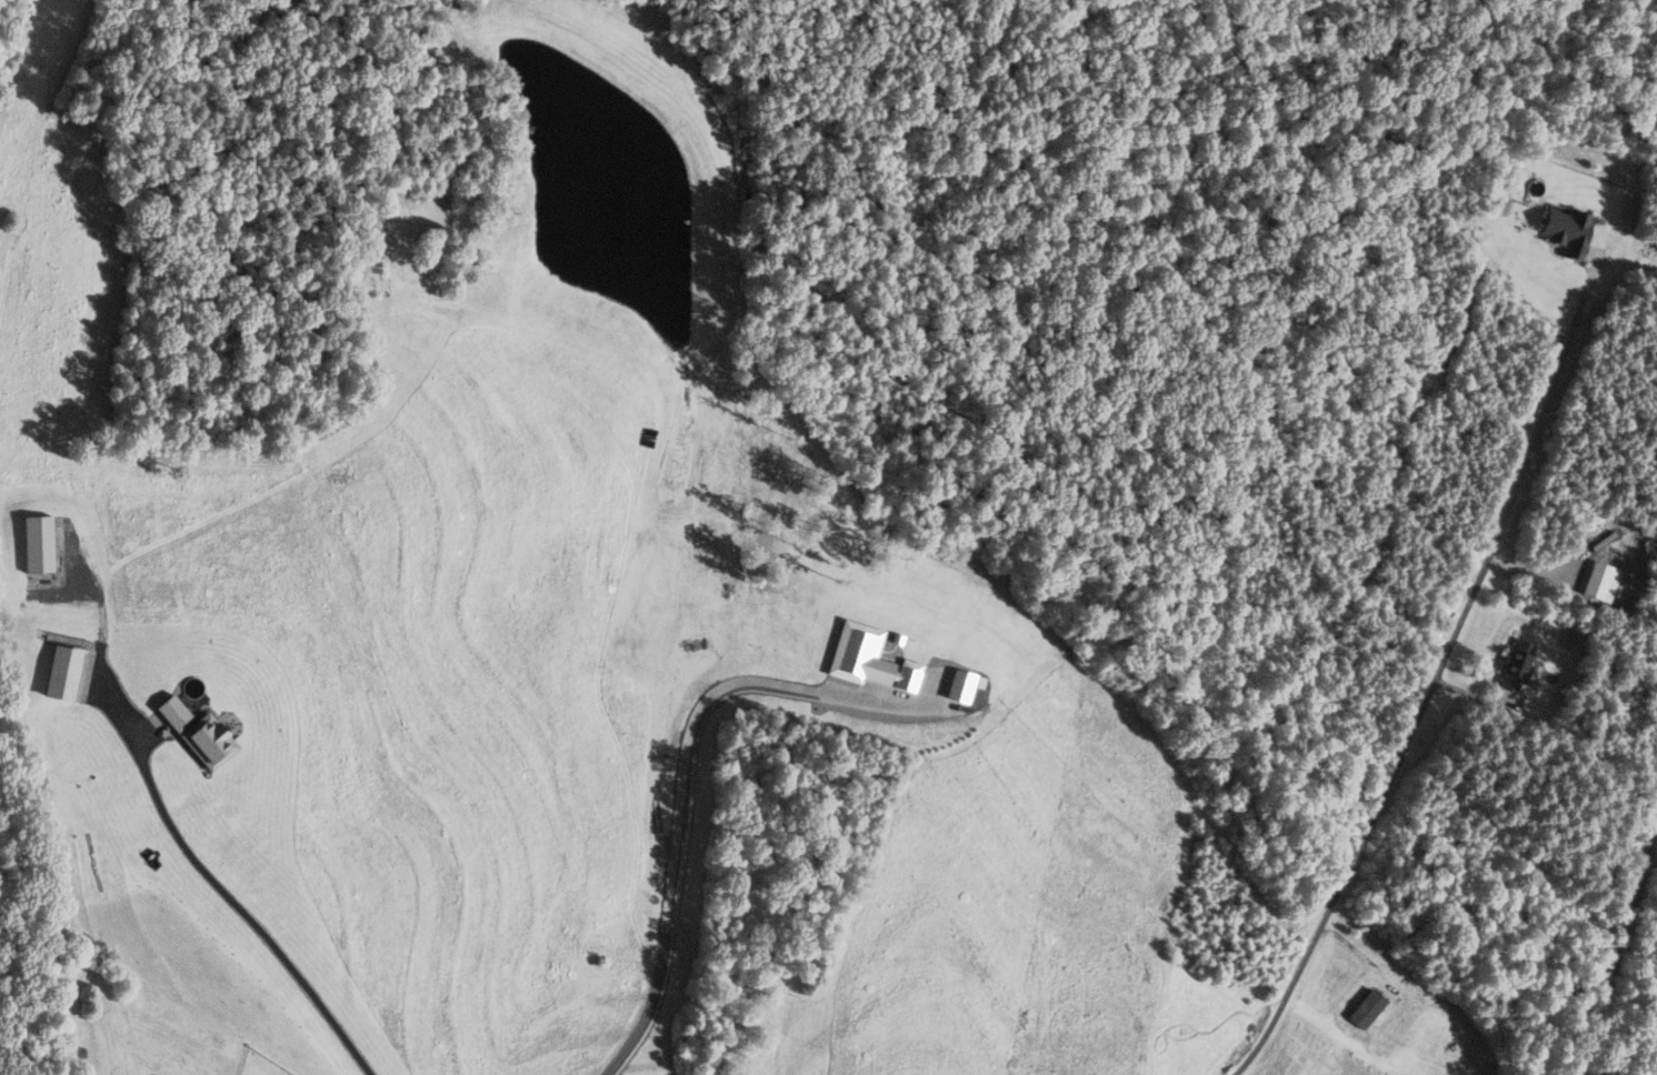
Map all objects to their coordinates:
building: (34, 544)
building: (1514, 665)
building: (59, 673)
road: (1427, 697)
building: (194, 734)
road: (678, 808)
road: (237, 905)
road: (1615, 945)

